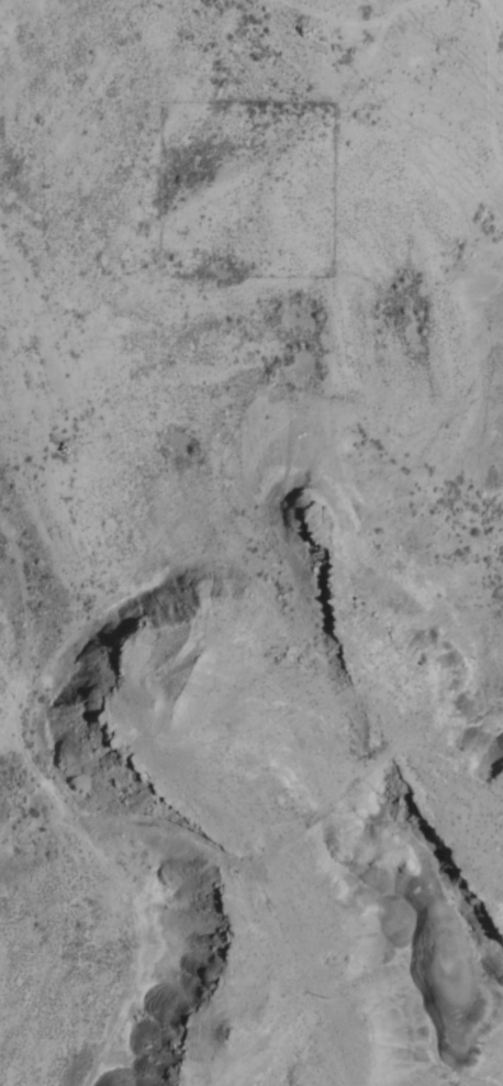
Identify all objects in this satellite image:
road: (21, 695)

